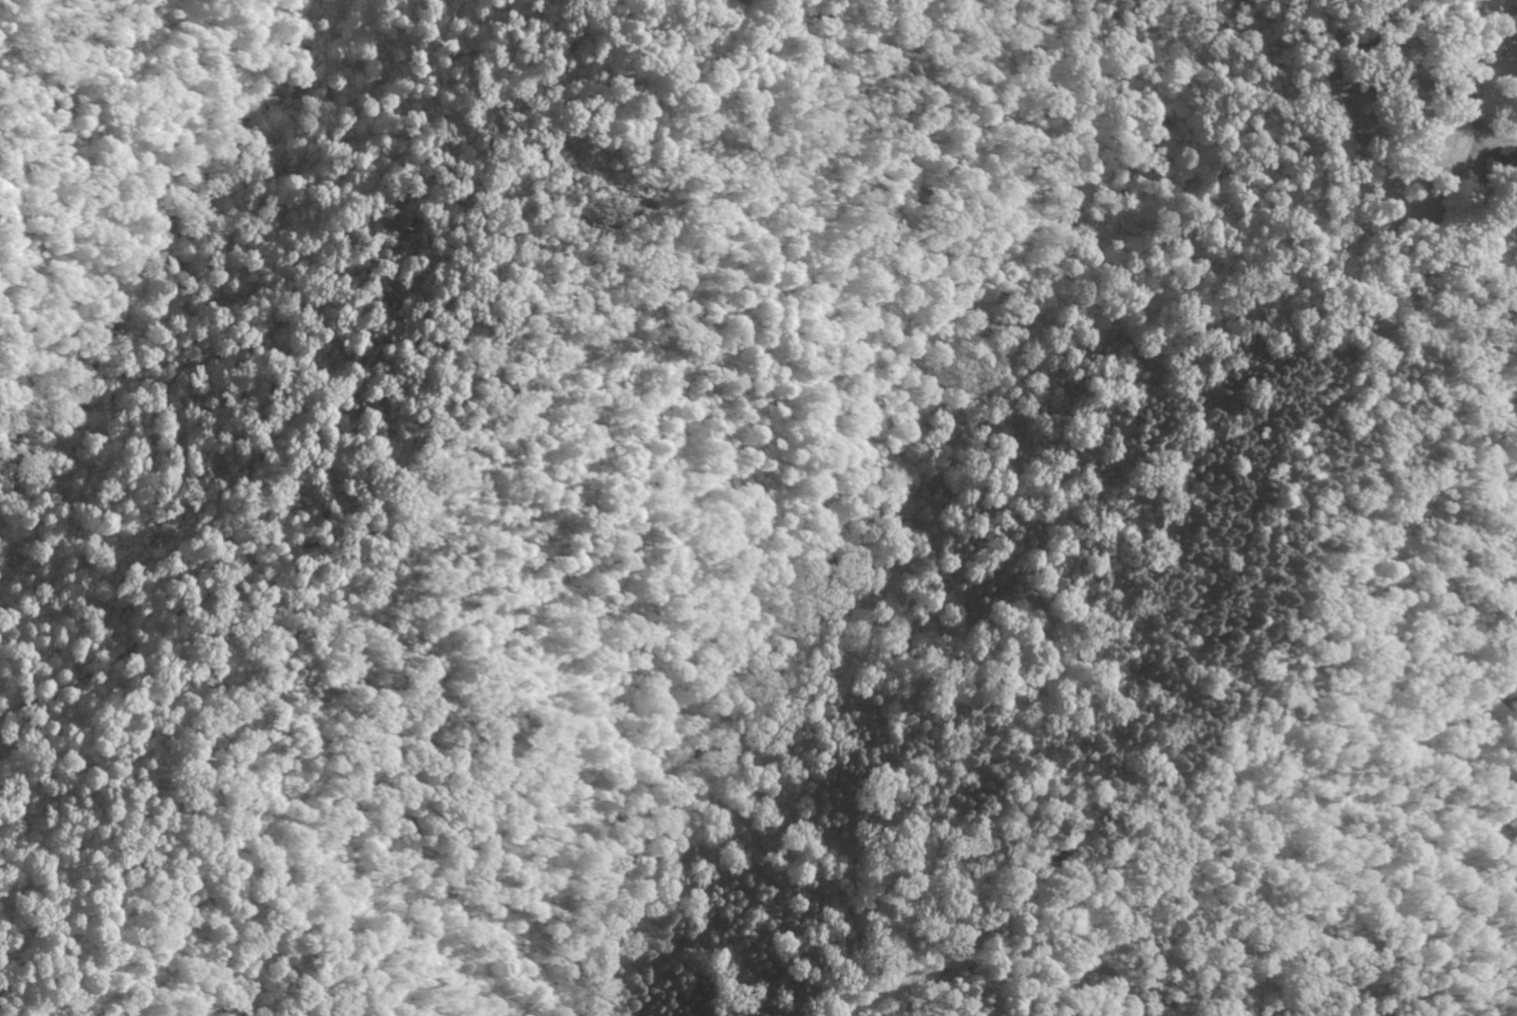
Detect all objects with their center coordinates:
road: (1472, 60)

